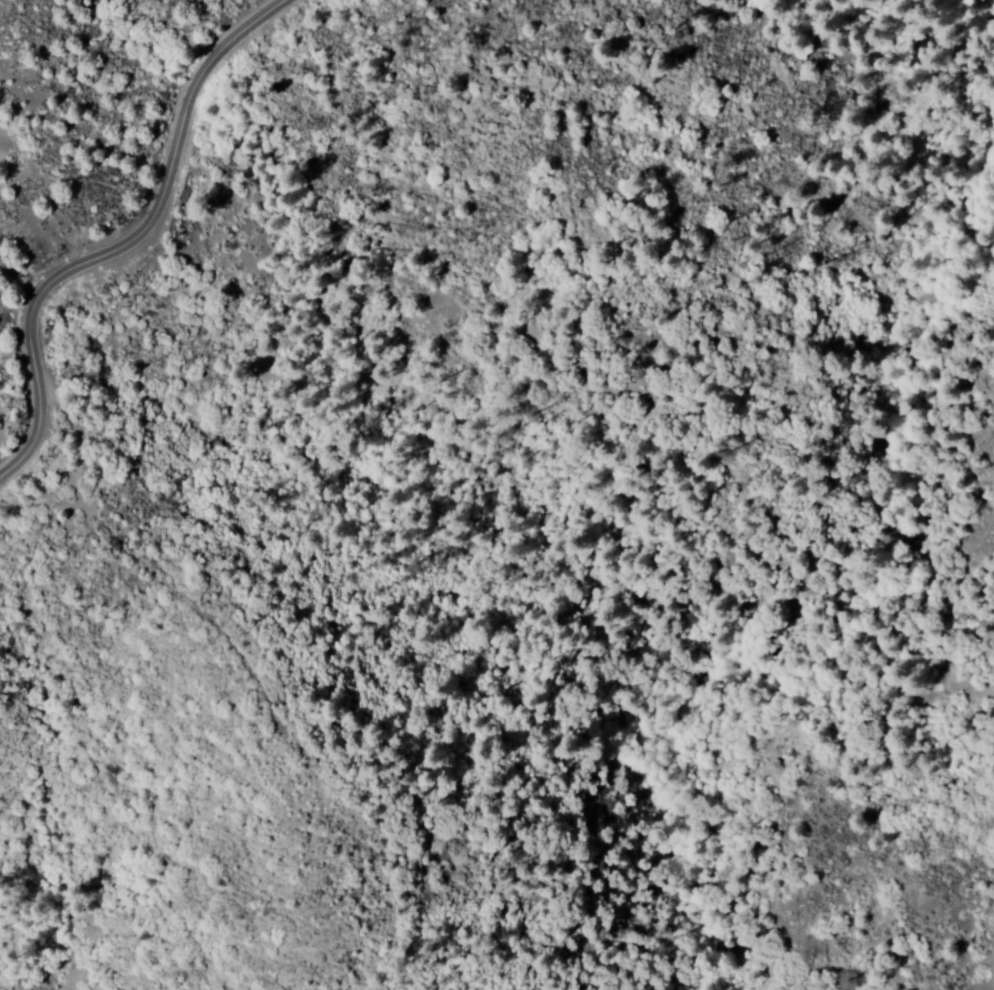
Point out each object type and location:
road: (125, 244)

